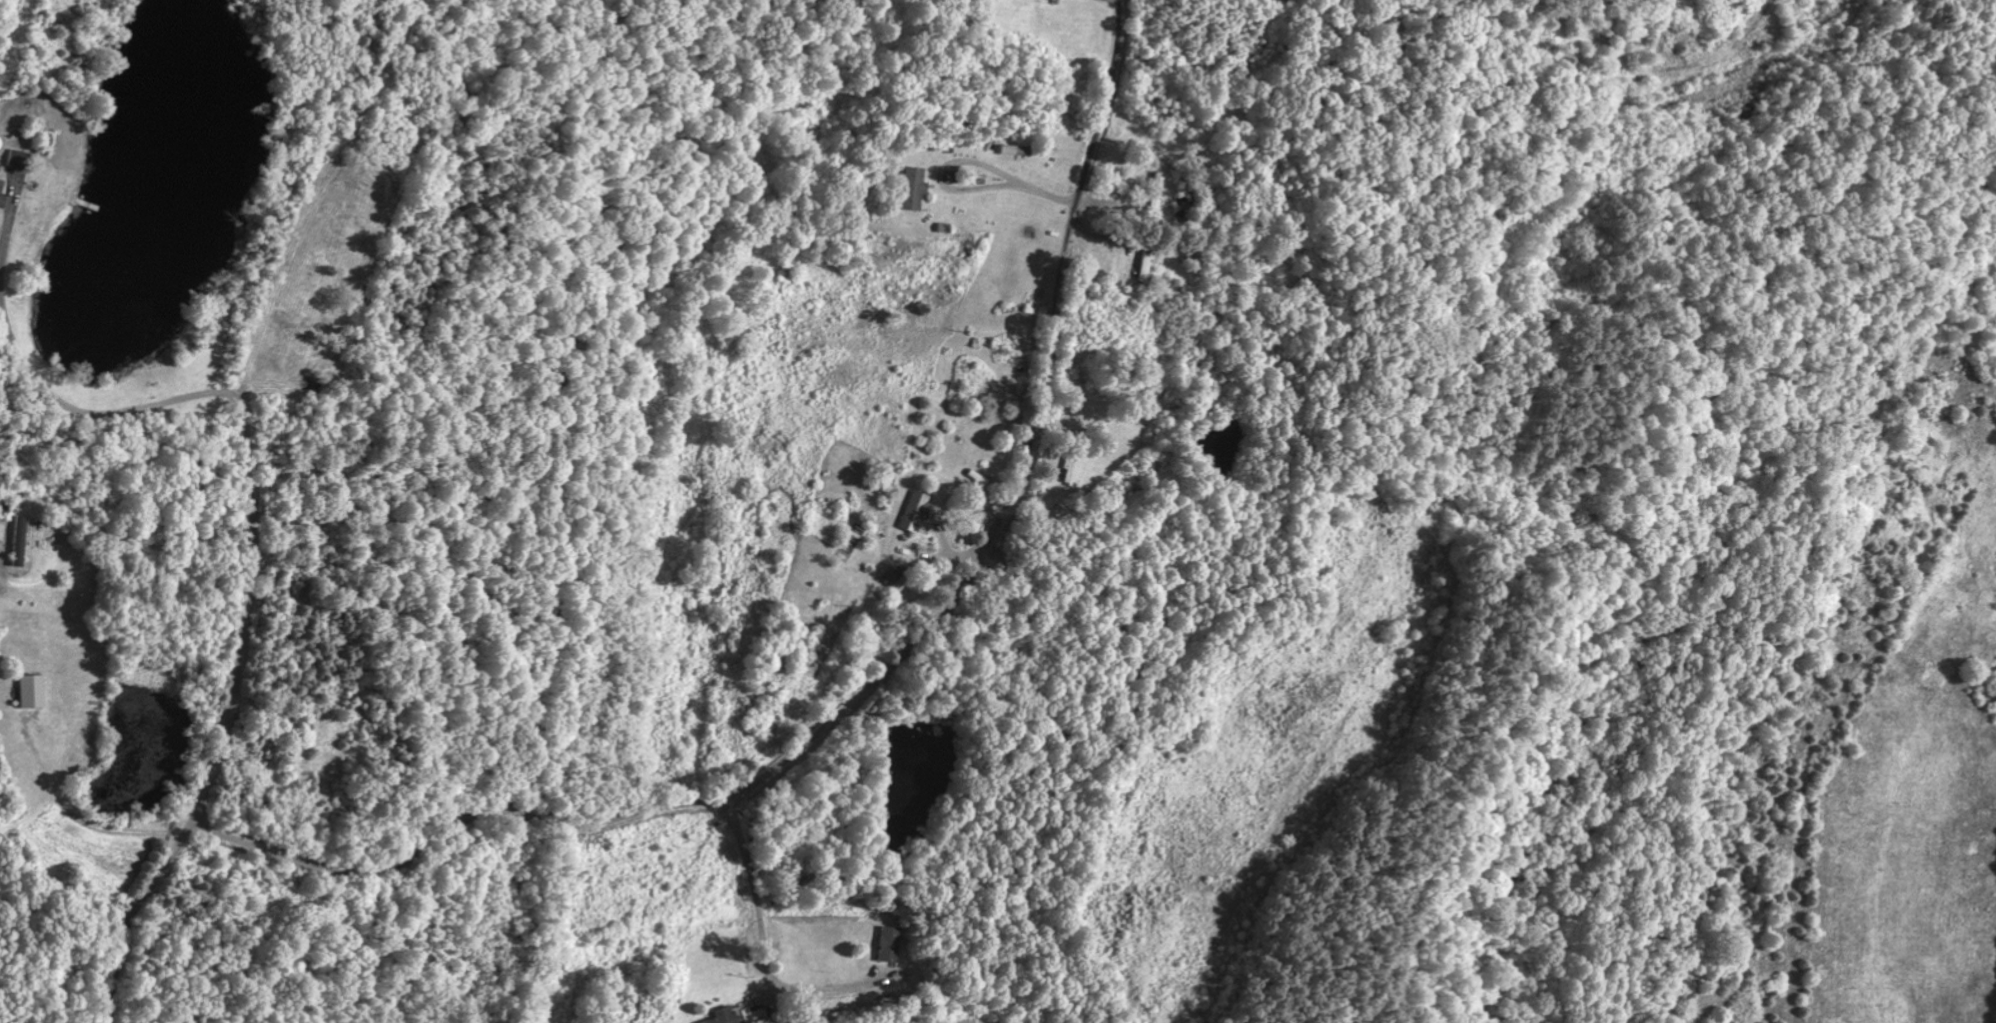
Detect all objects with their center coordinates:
building: (17, 160)
building: (0, 185)
building: (912, 189)
building: (1155, 190)
building: (1, 201)
road: (745, 304)
building: (1071, 469)
road: (1022, 472)
building: (914, 510)
building: (18, 540)
building: (896, 579)
building: (30, 691)
building: (888, 944)

